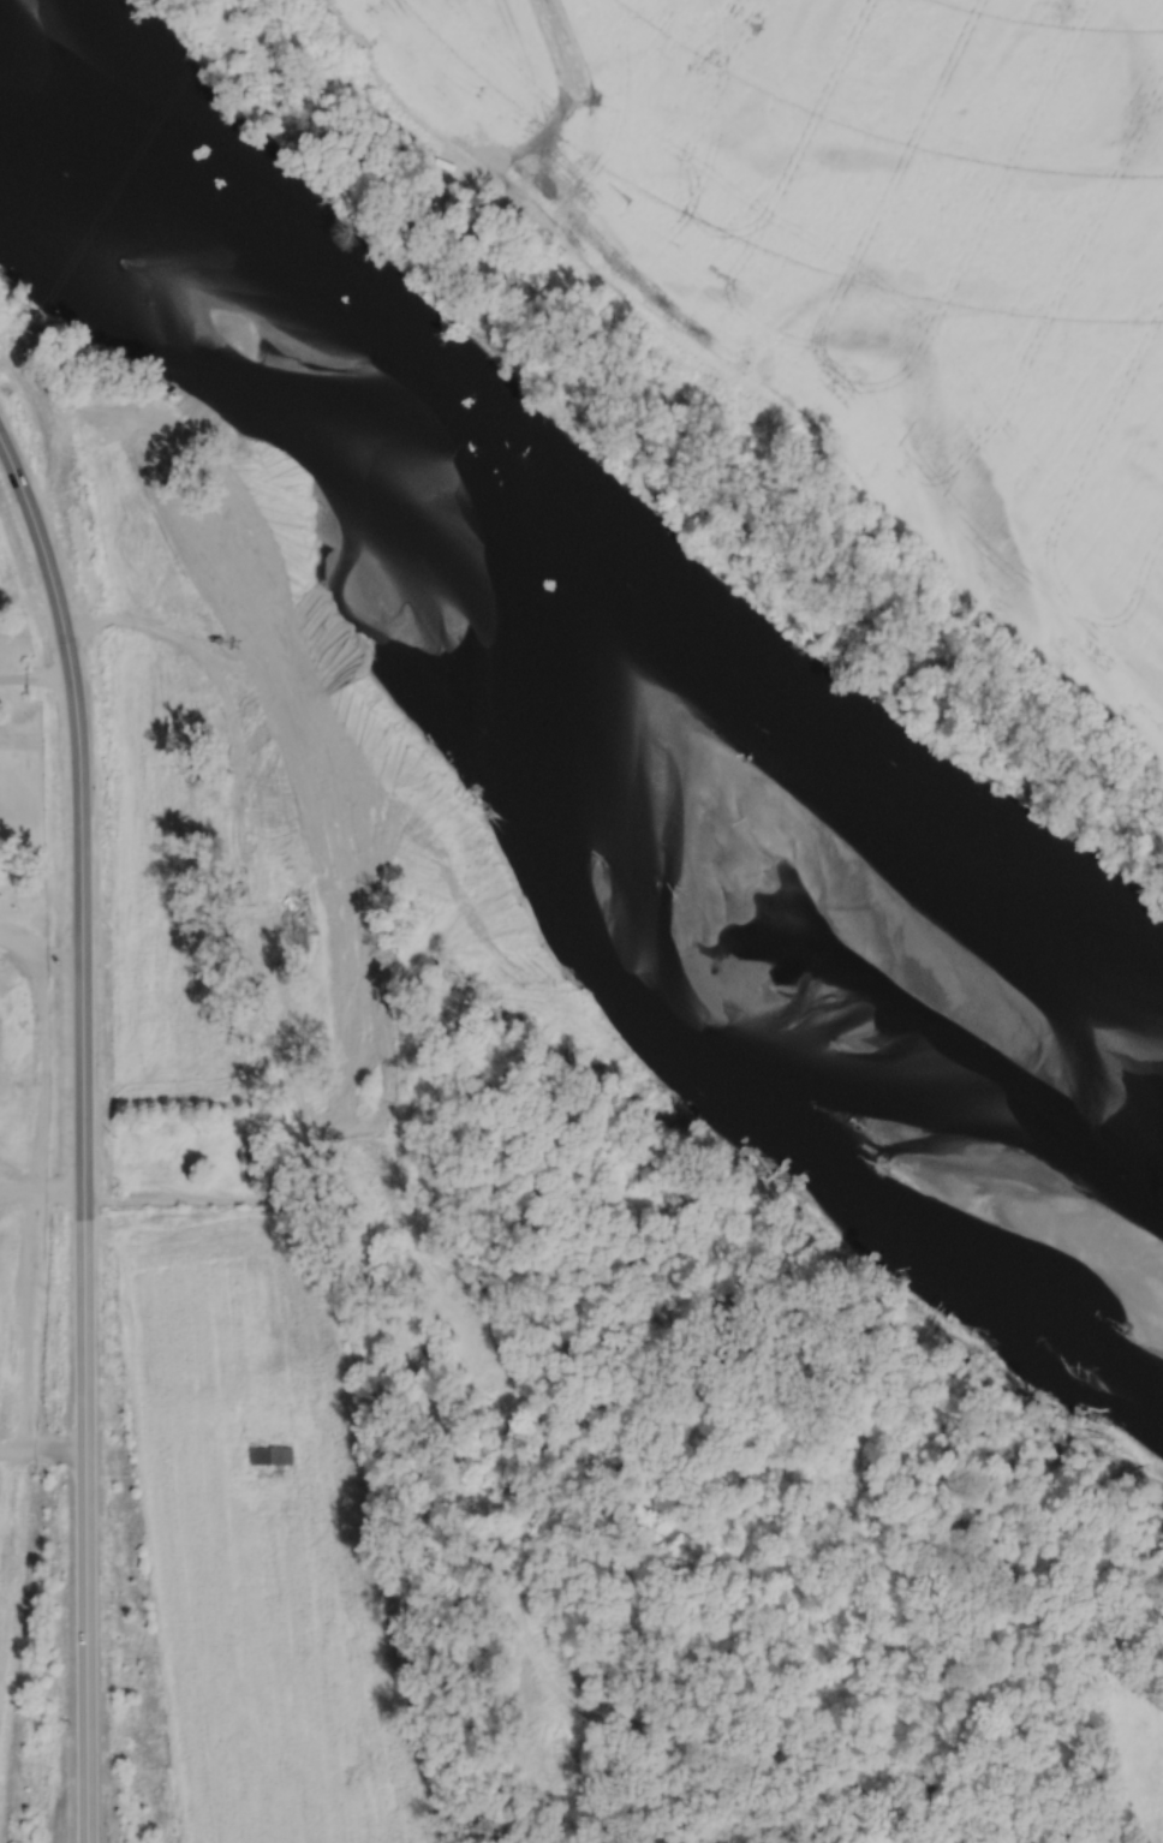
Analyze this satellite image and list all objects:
road: (43, 554)
river: (550, 607)
road: (35, 675)
road: (80, 817)
road: (19, 944)
road: (40, 961)
road: (35, 1072)
road: (305, 1113)
building: (261, 1152)
road: (41, 1182)
road: (187, 1200)
road: (28, 1314)
road: (83, 1402)
road: (41, 1447)
building: (270, 1455)
road: (11, 1585)

